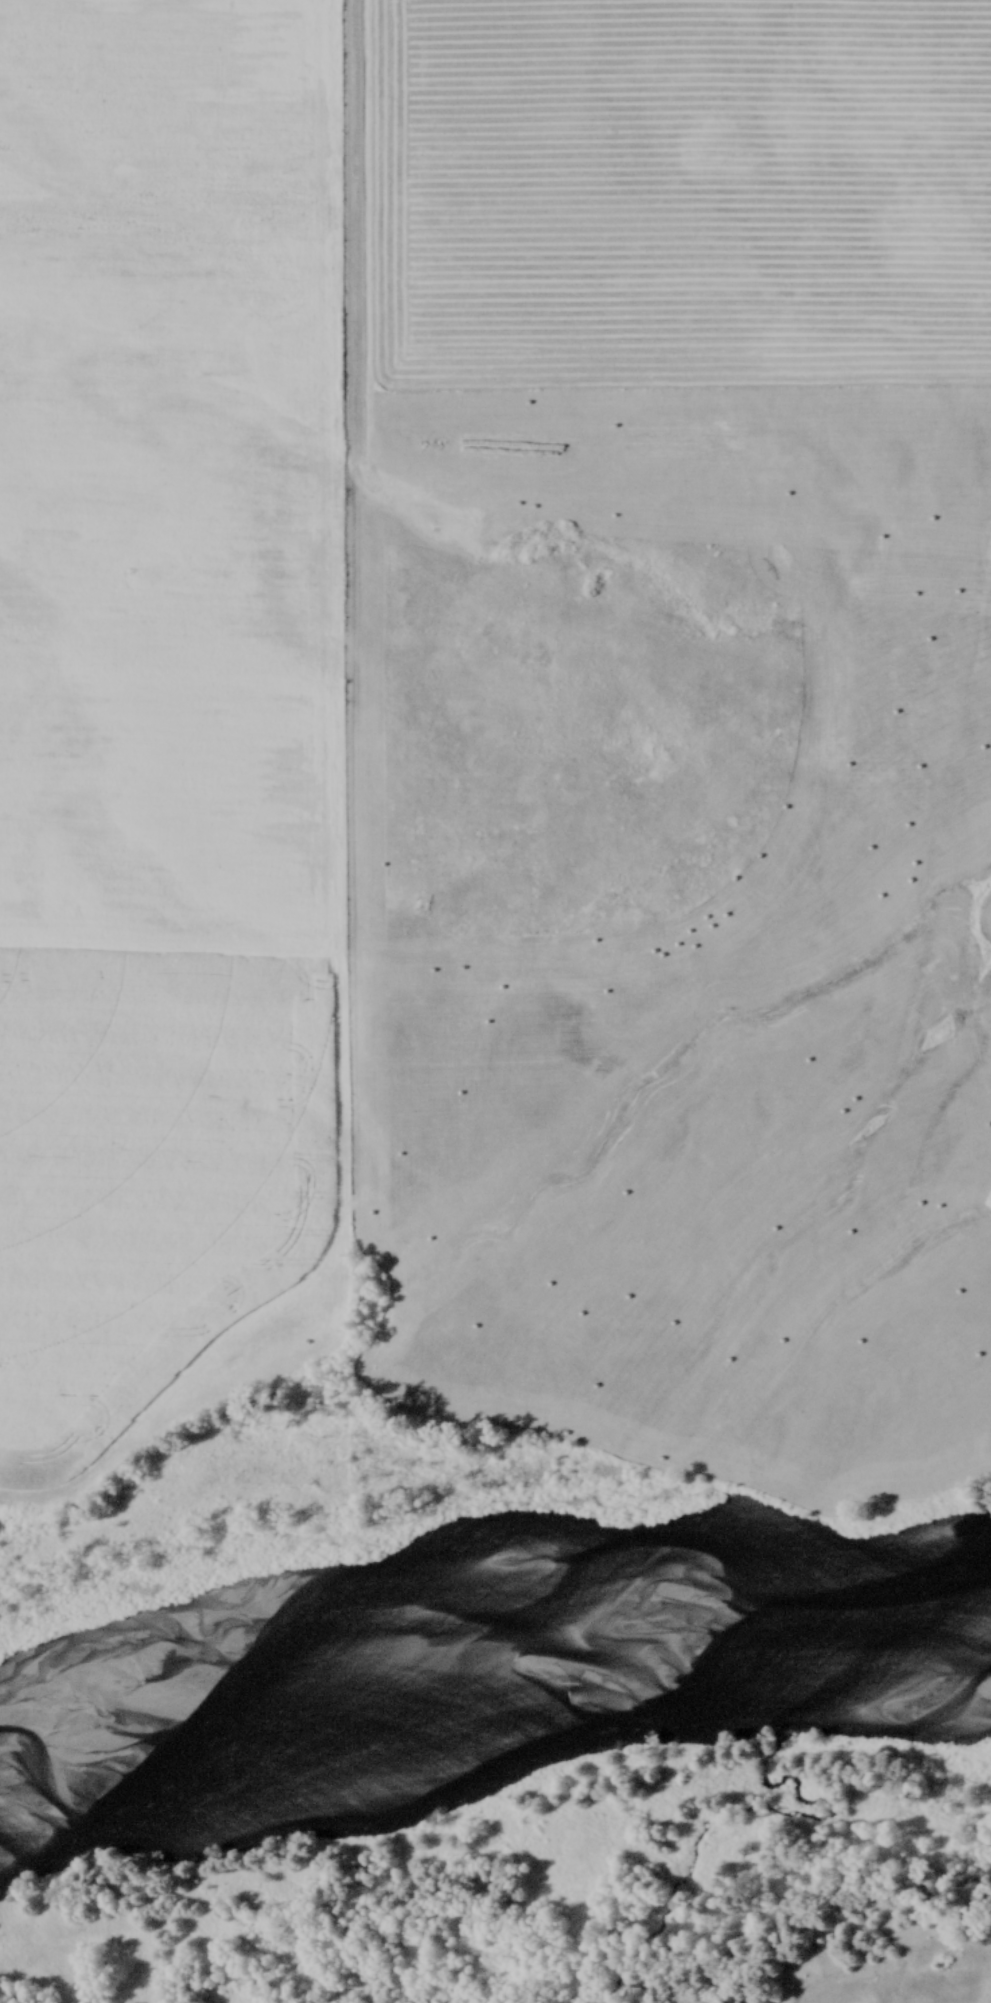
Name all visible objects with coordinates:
river: (452, 1591)

